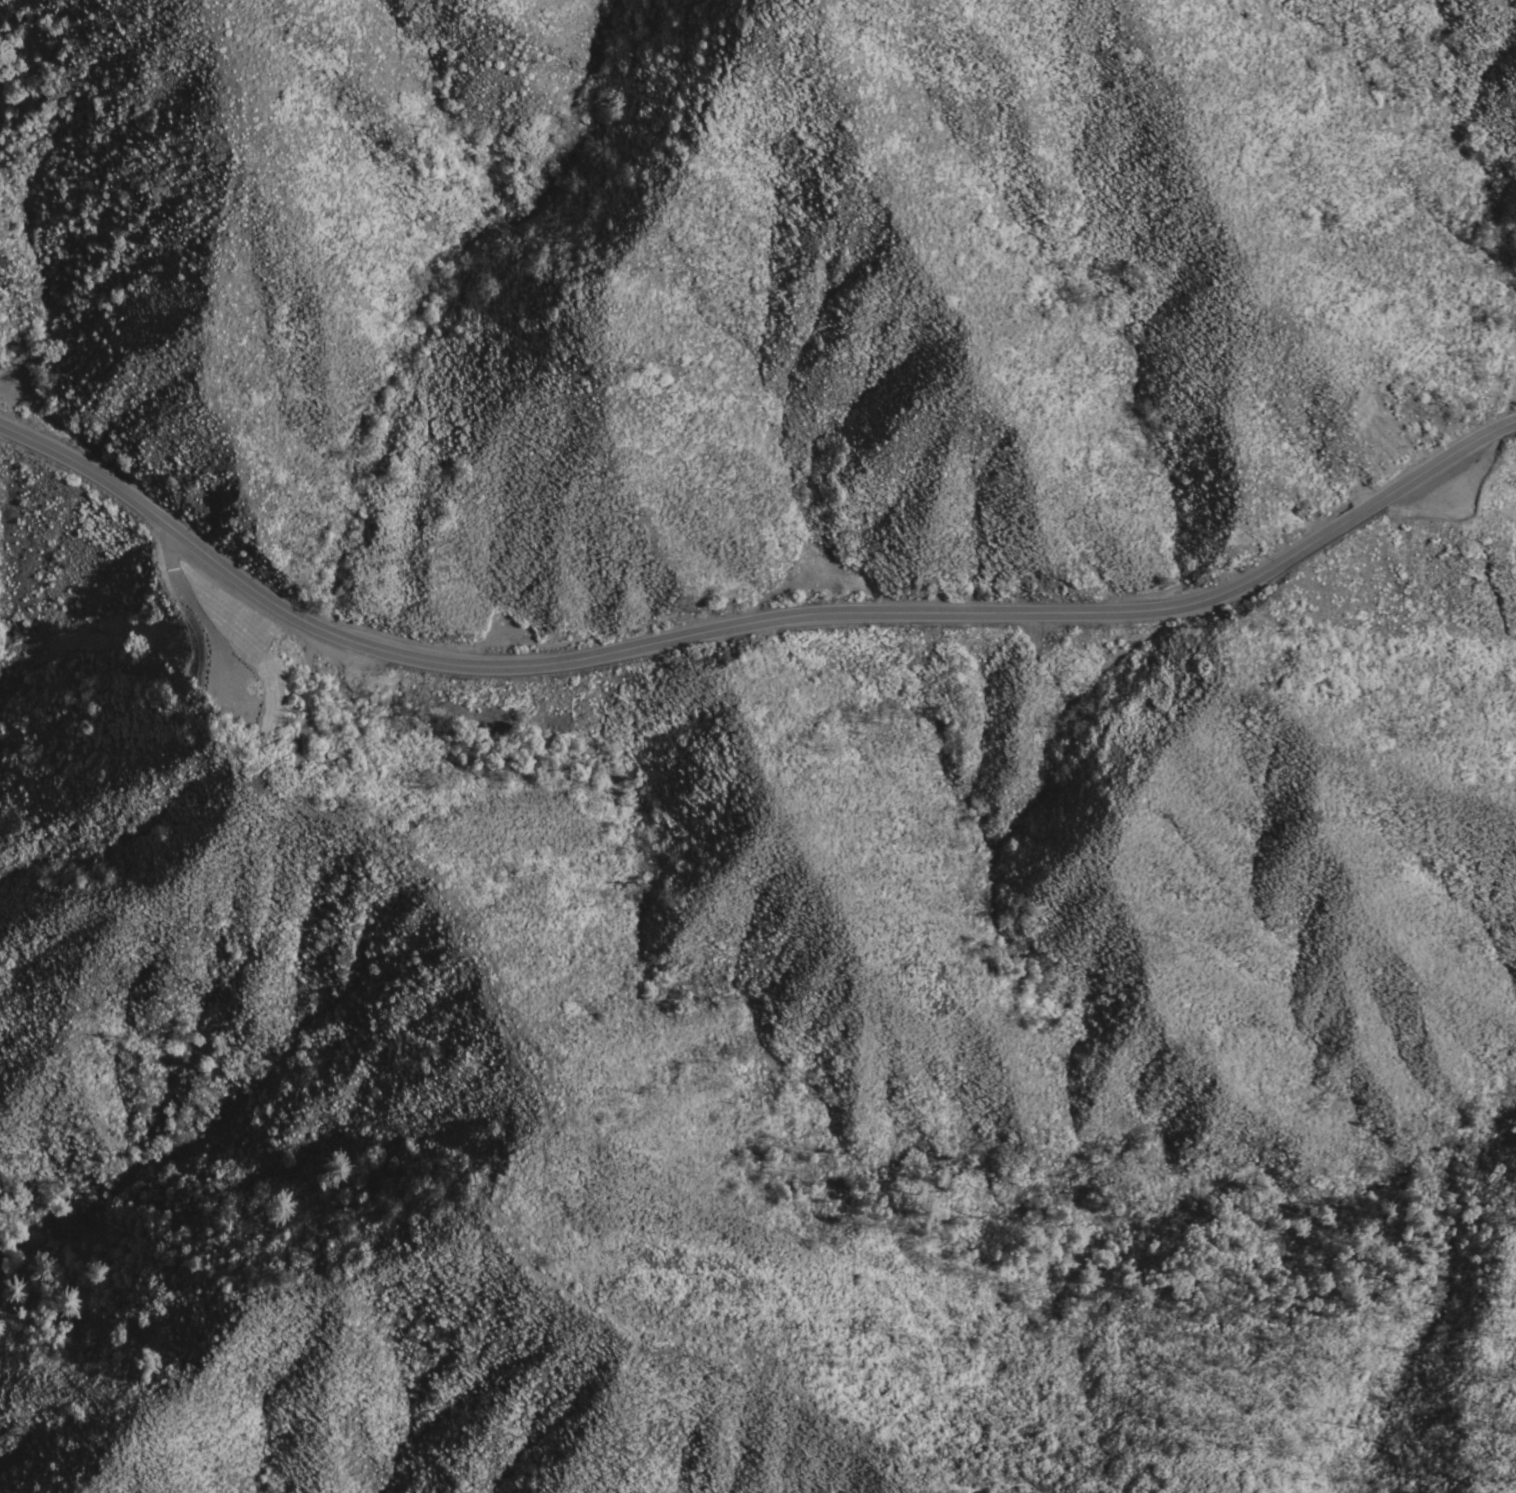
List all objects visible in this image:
parking lot: (1450, 489)
road: (747, 624)
road: (220, 628)
road: (306, 698)
building: (329, 749)
storage tank: (329, 749)
building: (339, 758)
storage tank: (339, 758)

